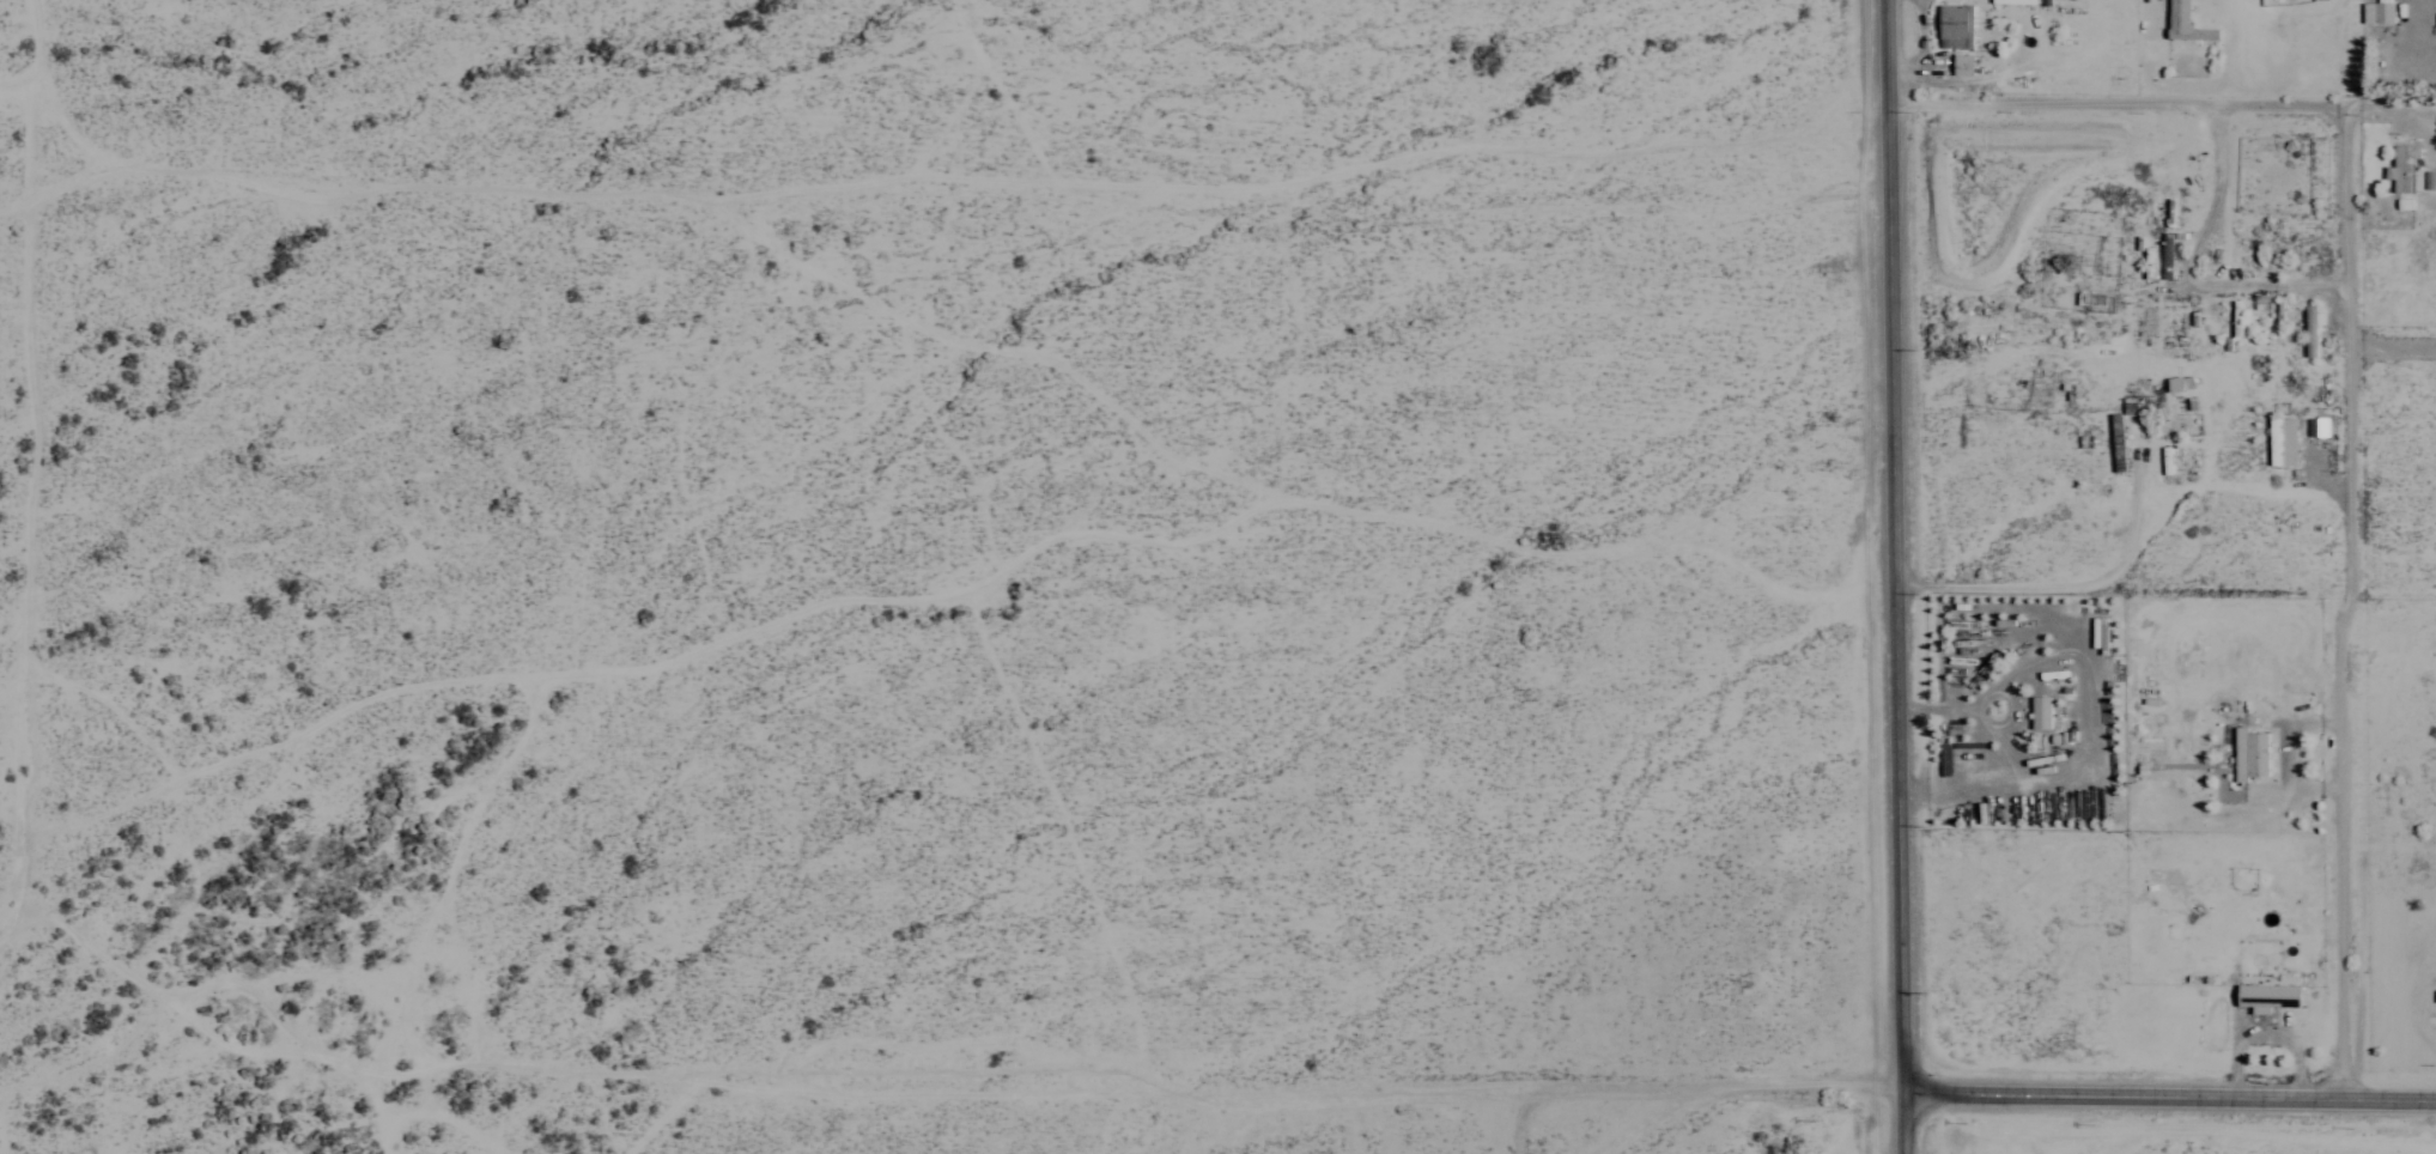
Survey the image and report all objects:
building: (2375, 12)
building: (2182, 23)
building: (1952, 26)
building: (1960, 65)
road: (2118, 99)
building: (2405, 171)
building: (2164, 256)
building: (2146, 263)
building: (2309, 323)
road: (2393, 342)
building: (2176, 382)
building: (2314, 426)
building: (2279, 441)
road: (1894, 542)
road: (2351, 596)
building: (2037, 712)
building: (1973, 752)
building: (2247, 753)
building: (2264, 996)
road: (2169, 1088)
road: (1903, 1119)

